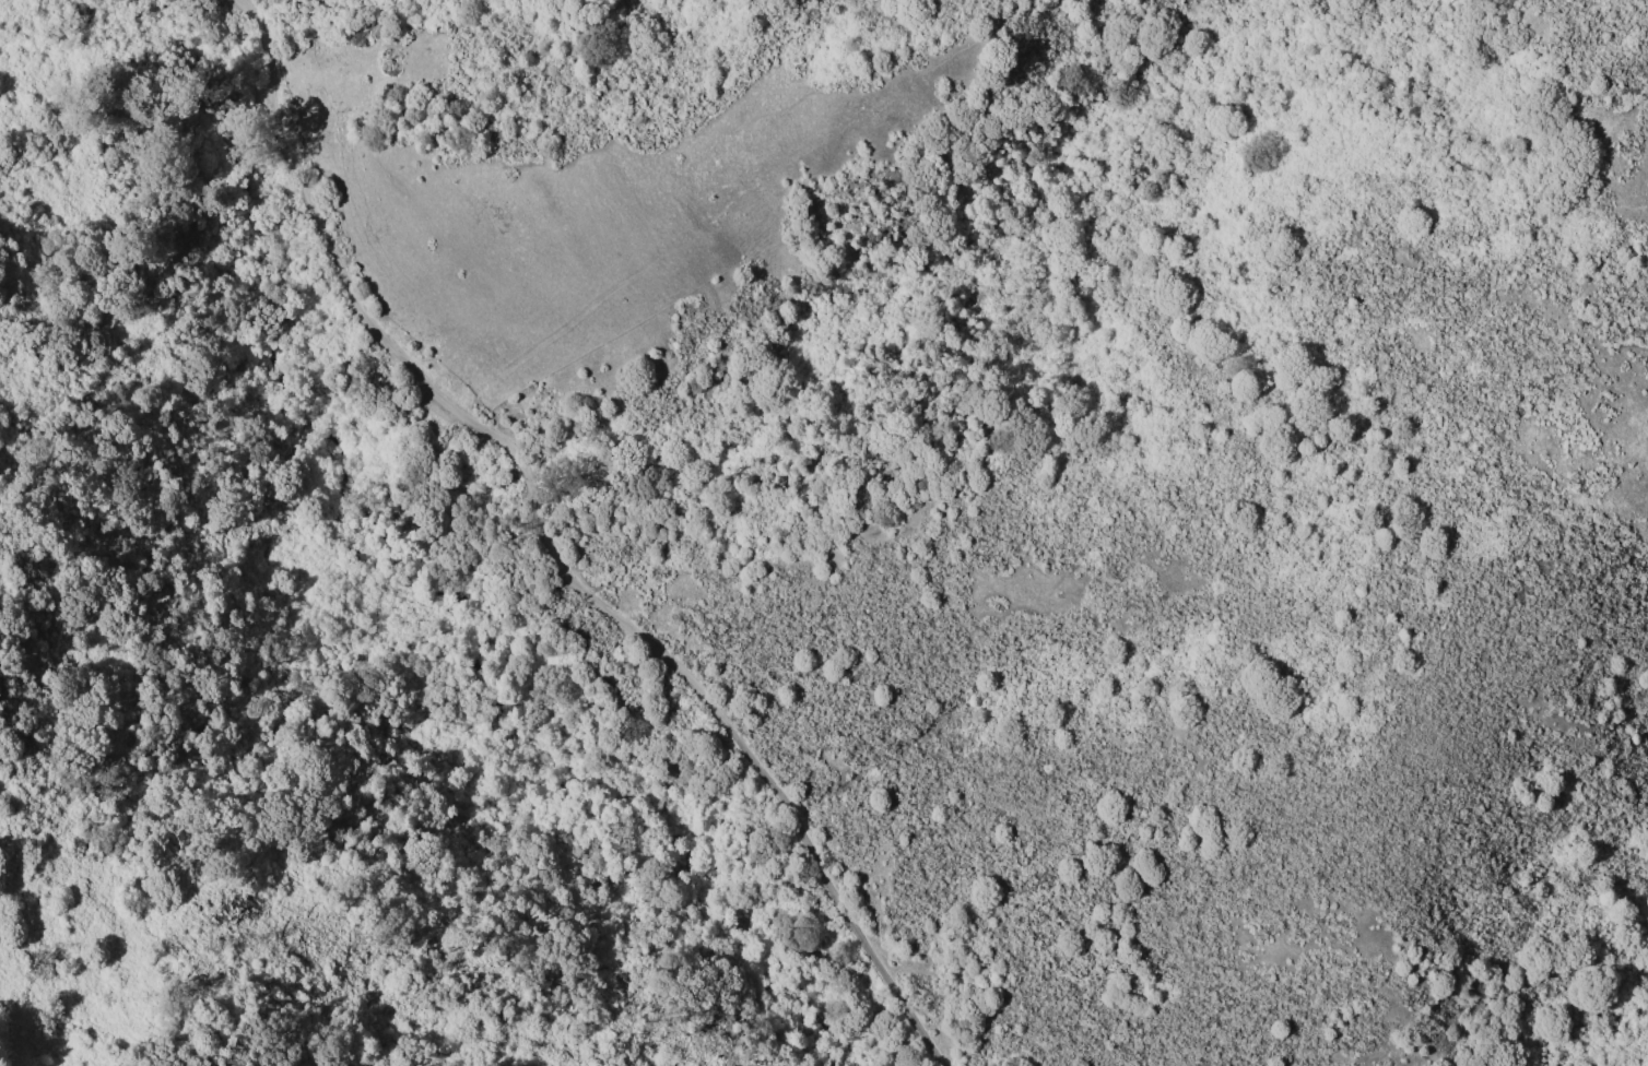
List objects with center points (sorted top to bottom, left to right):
road: (549, 549)
power tower: (361, 944)
power tower: (213, 946)

